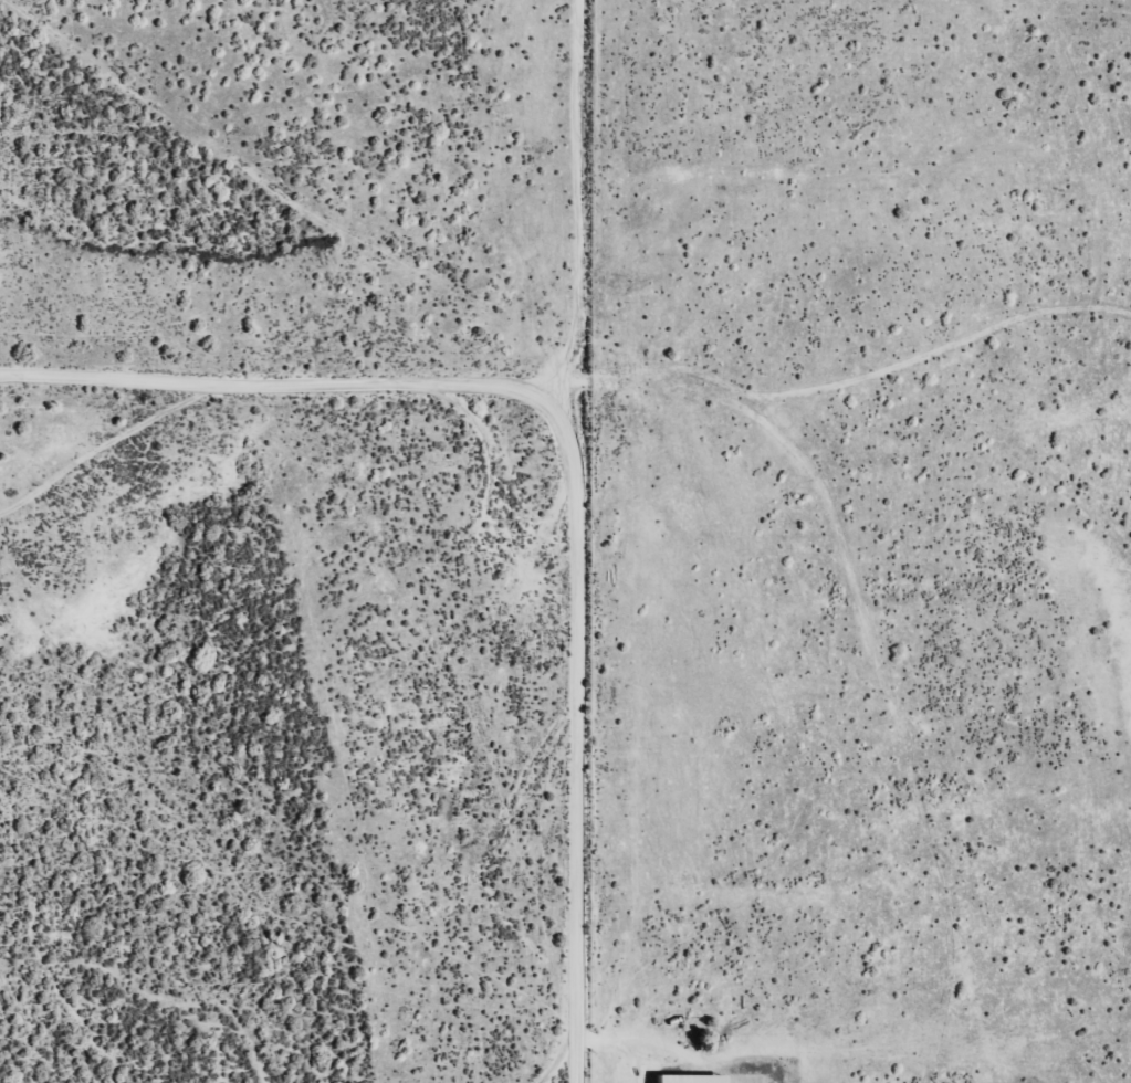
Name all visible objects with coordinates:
building: (689, 1079)

